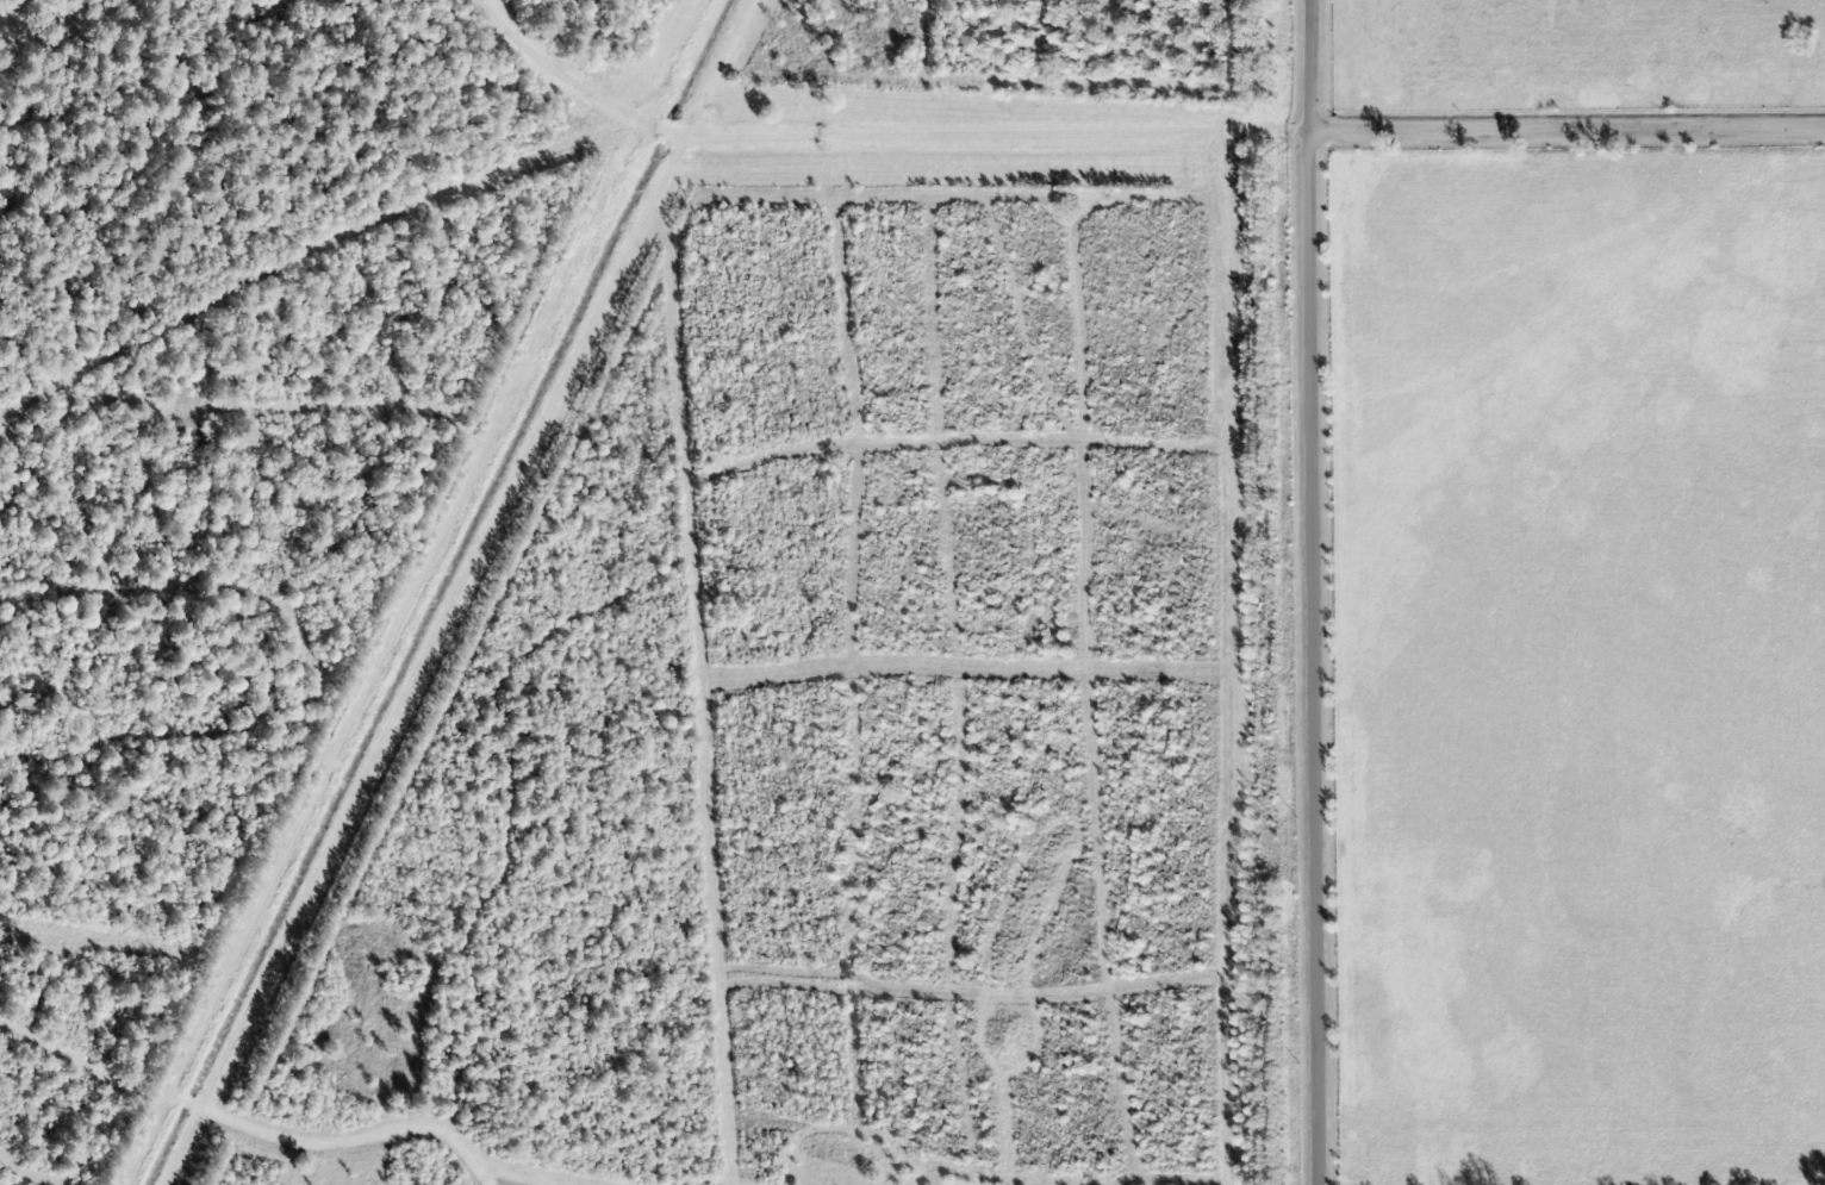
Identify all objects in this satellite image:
road: (1568, 125)
road: (1314, 592)

